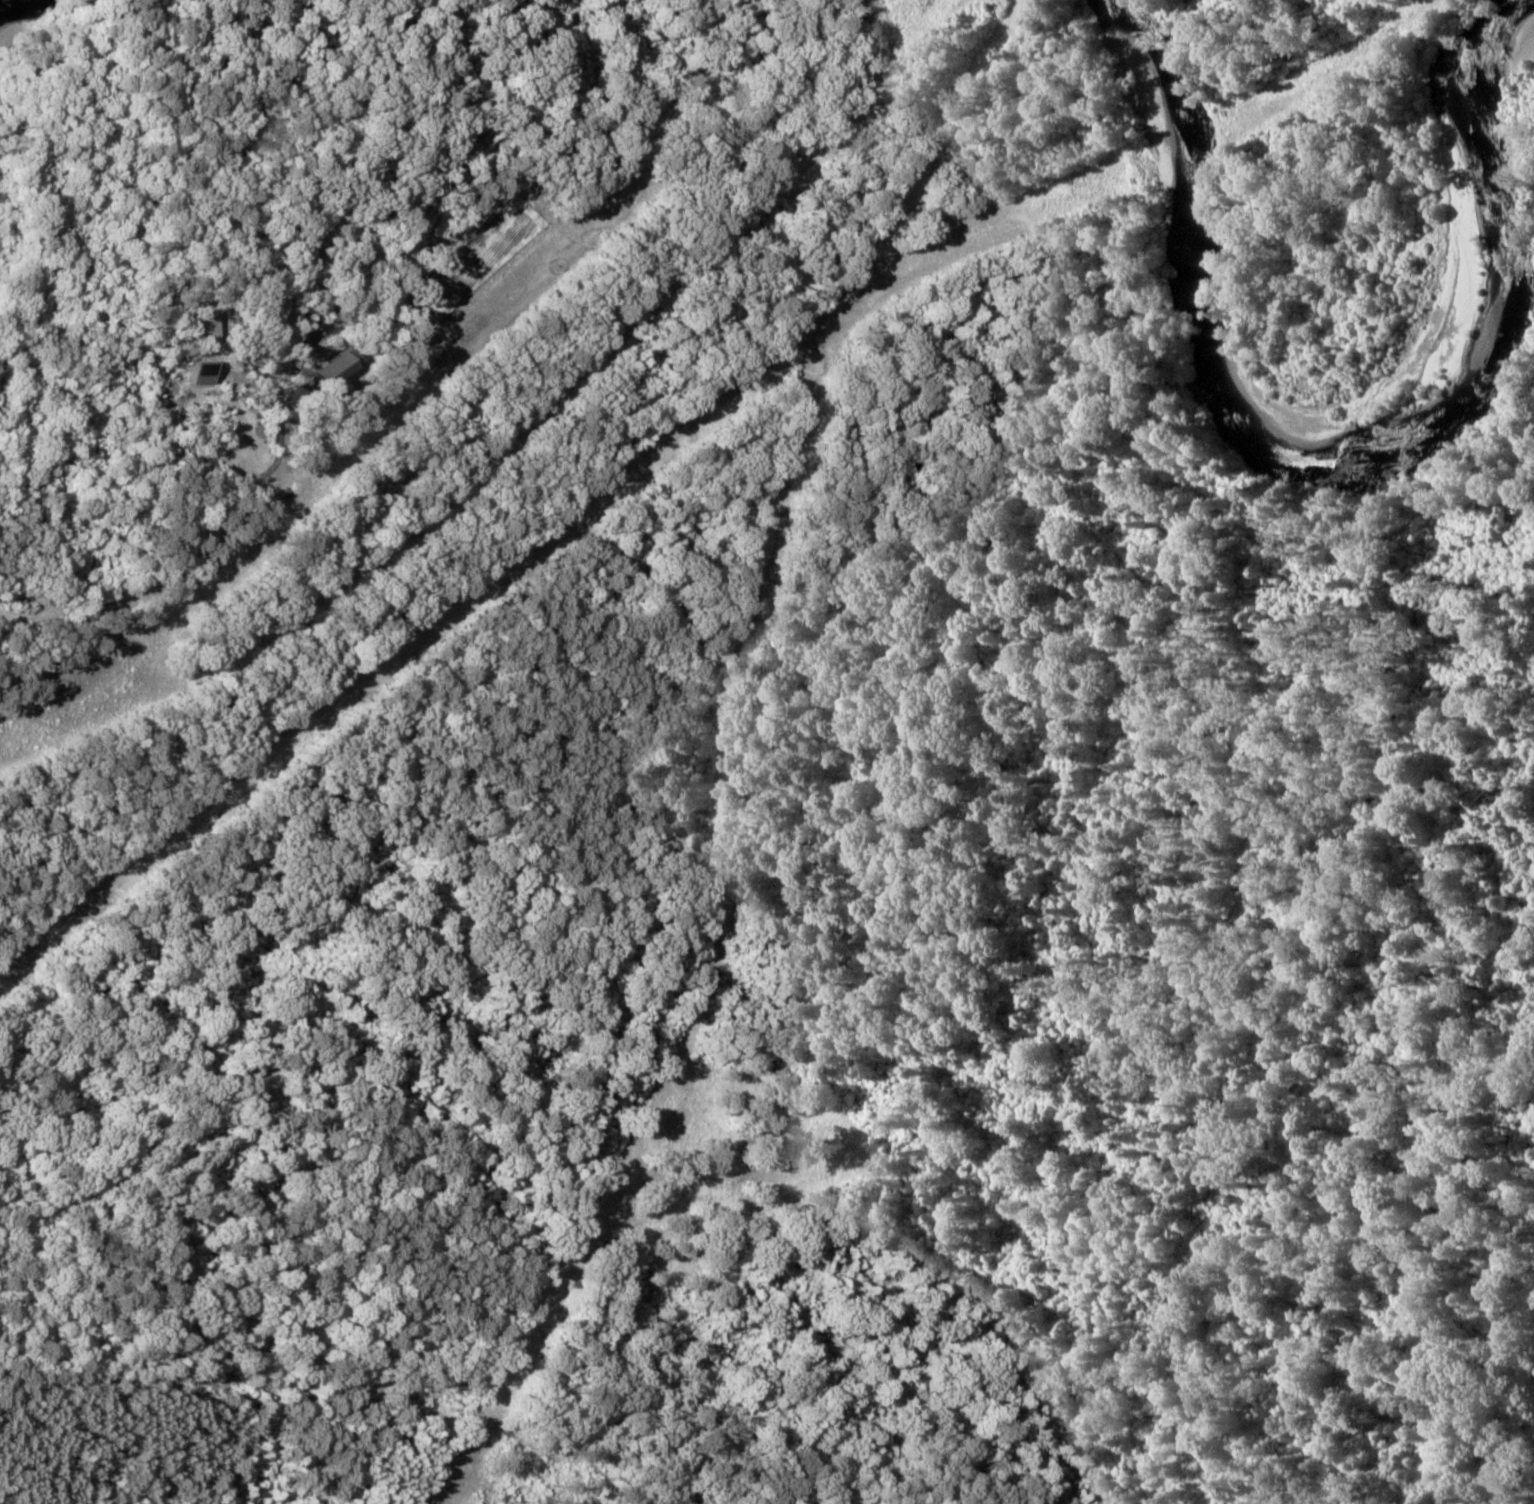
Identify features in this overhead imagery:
building: (341, 366)

